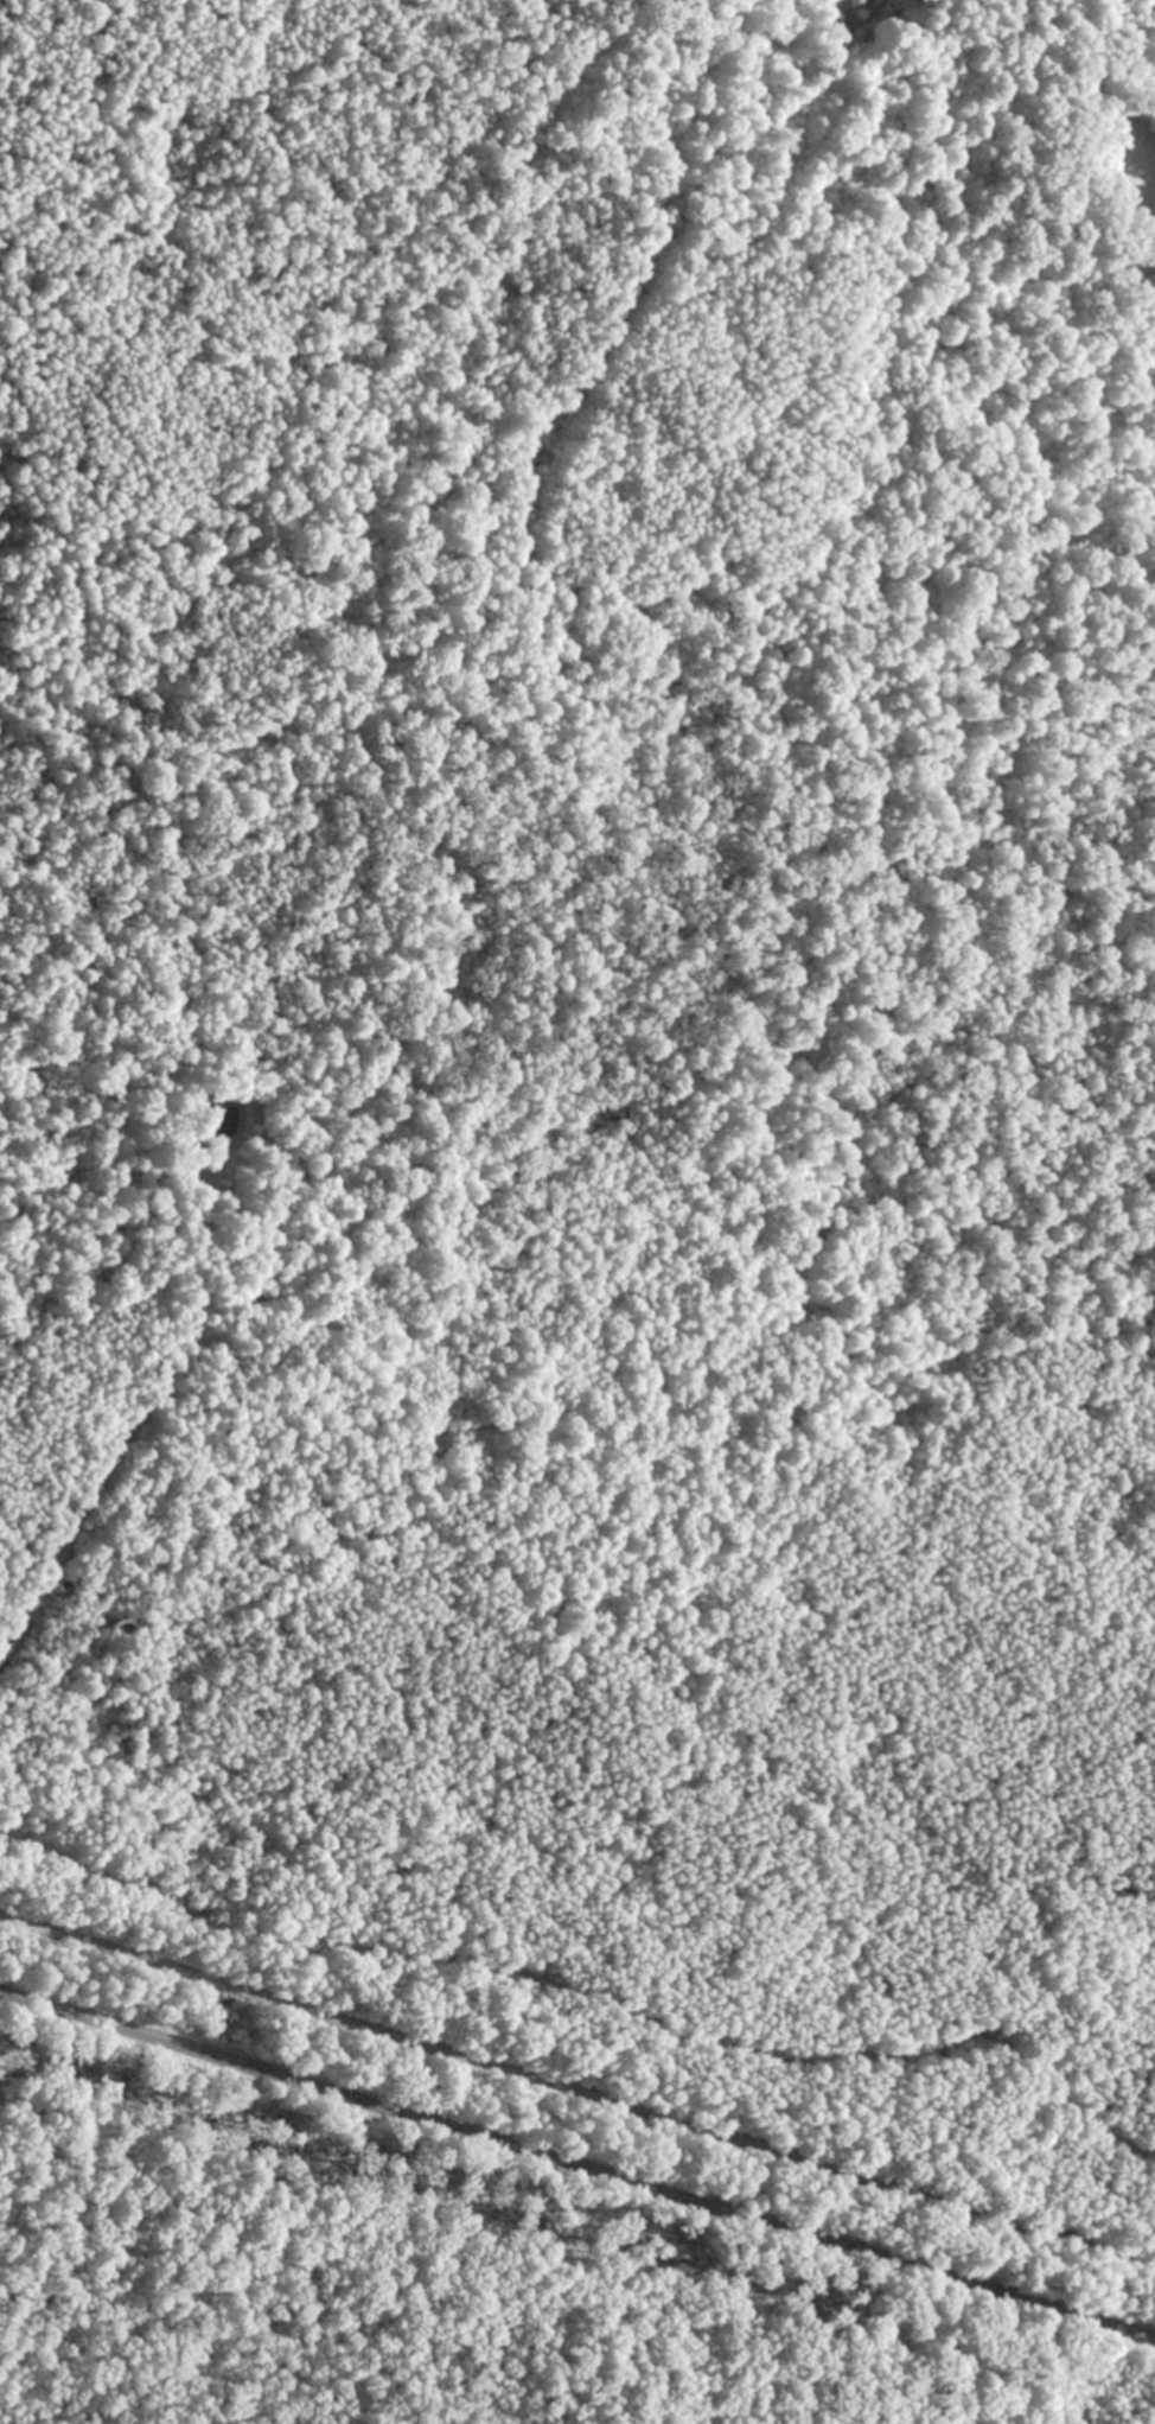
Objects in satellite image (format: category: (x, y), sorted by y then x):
building: (218, 1120)
road: (577, 2092)
road: (577, 2164)

